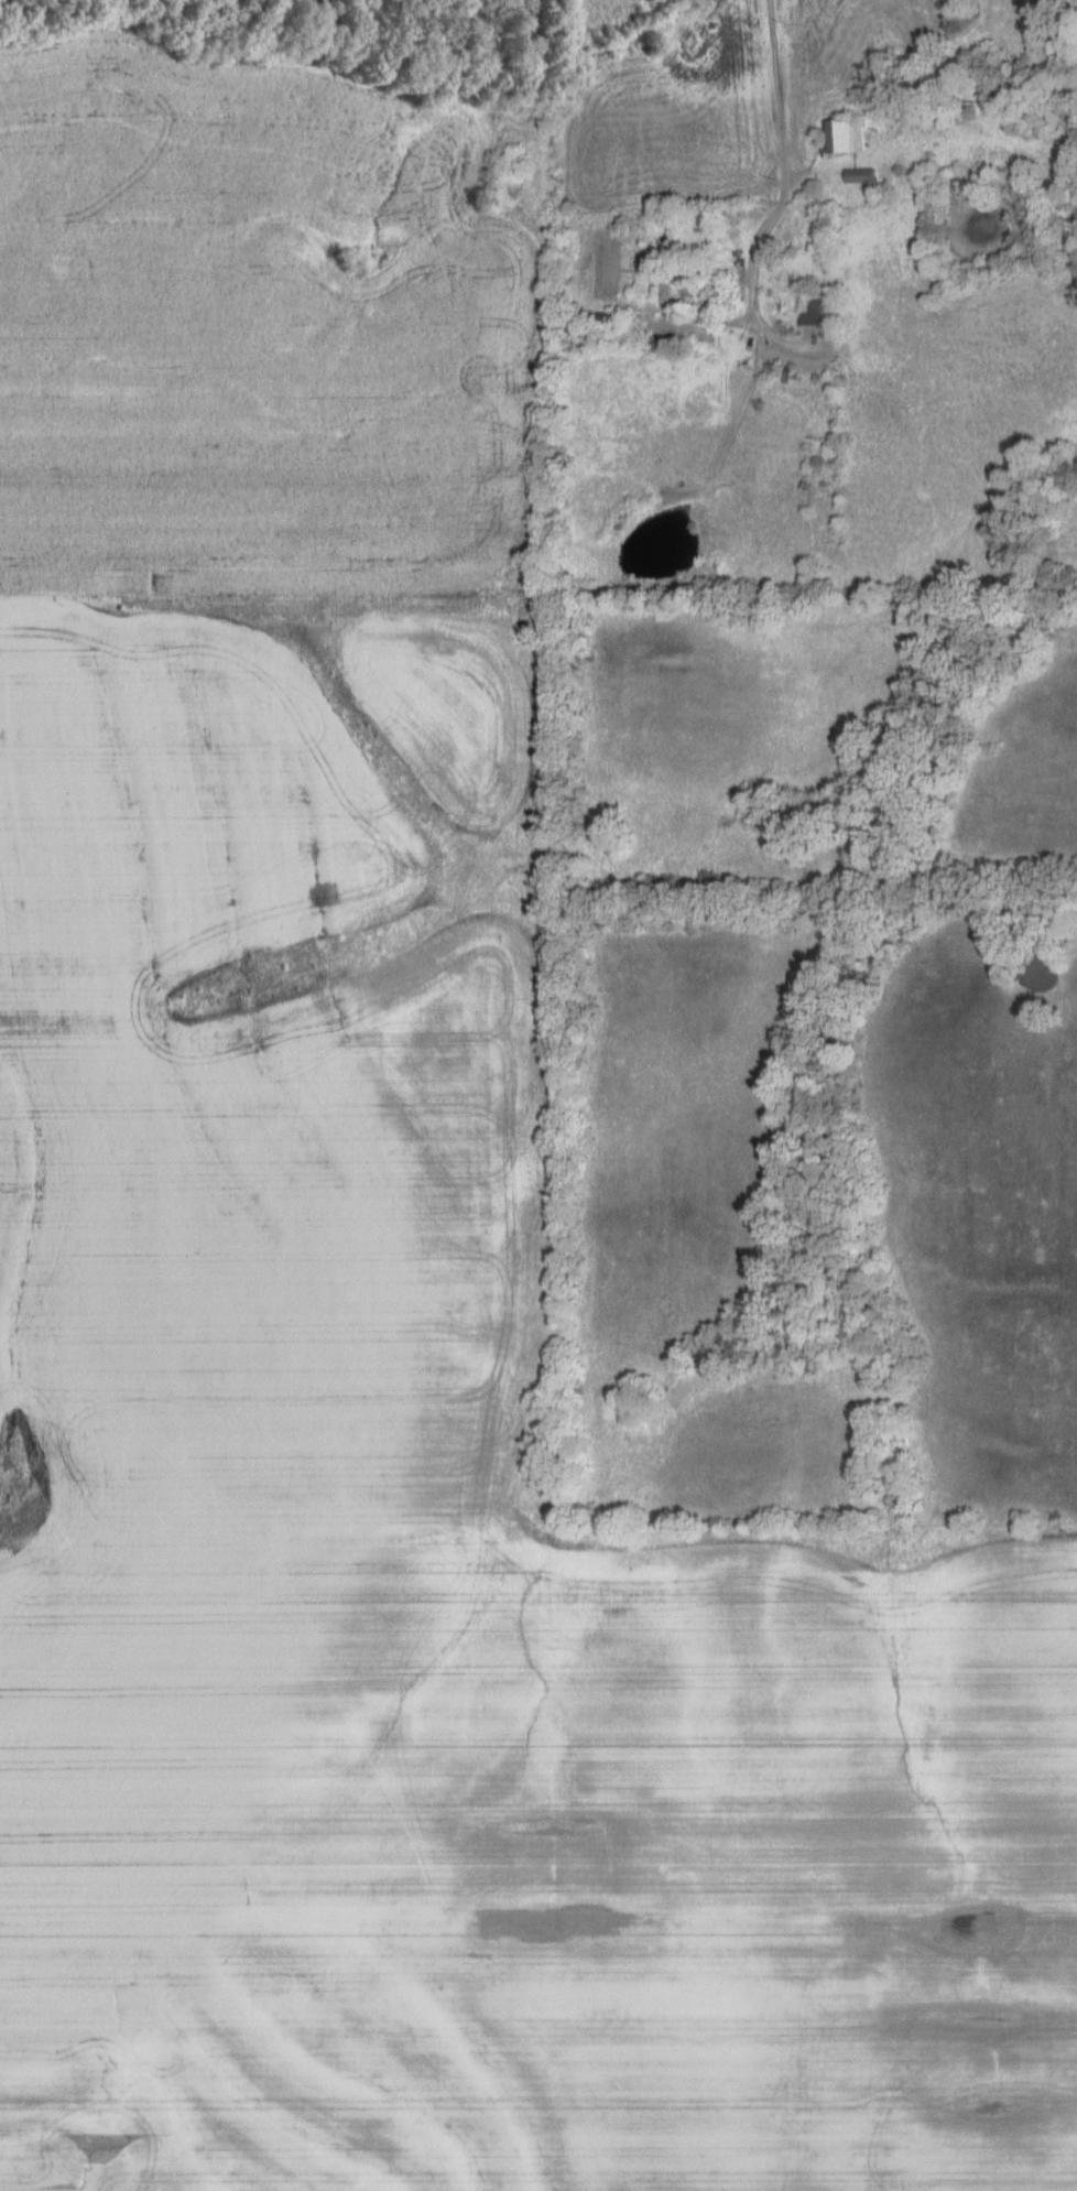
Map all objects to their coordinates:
road: (750, 100)
building: (844, 135)
building: (813, 311)
building: (602, 316)

